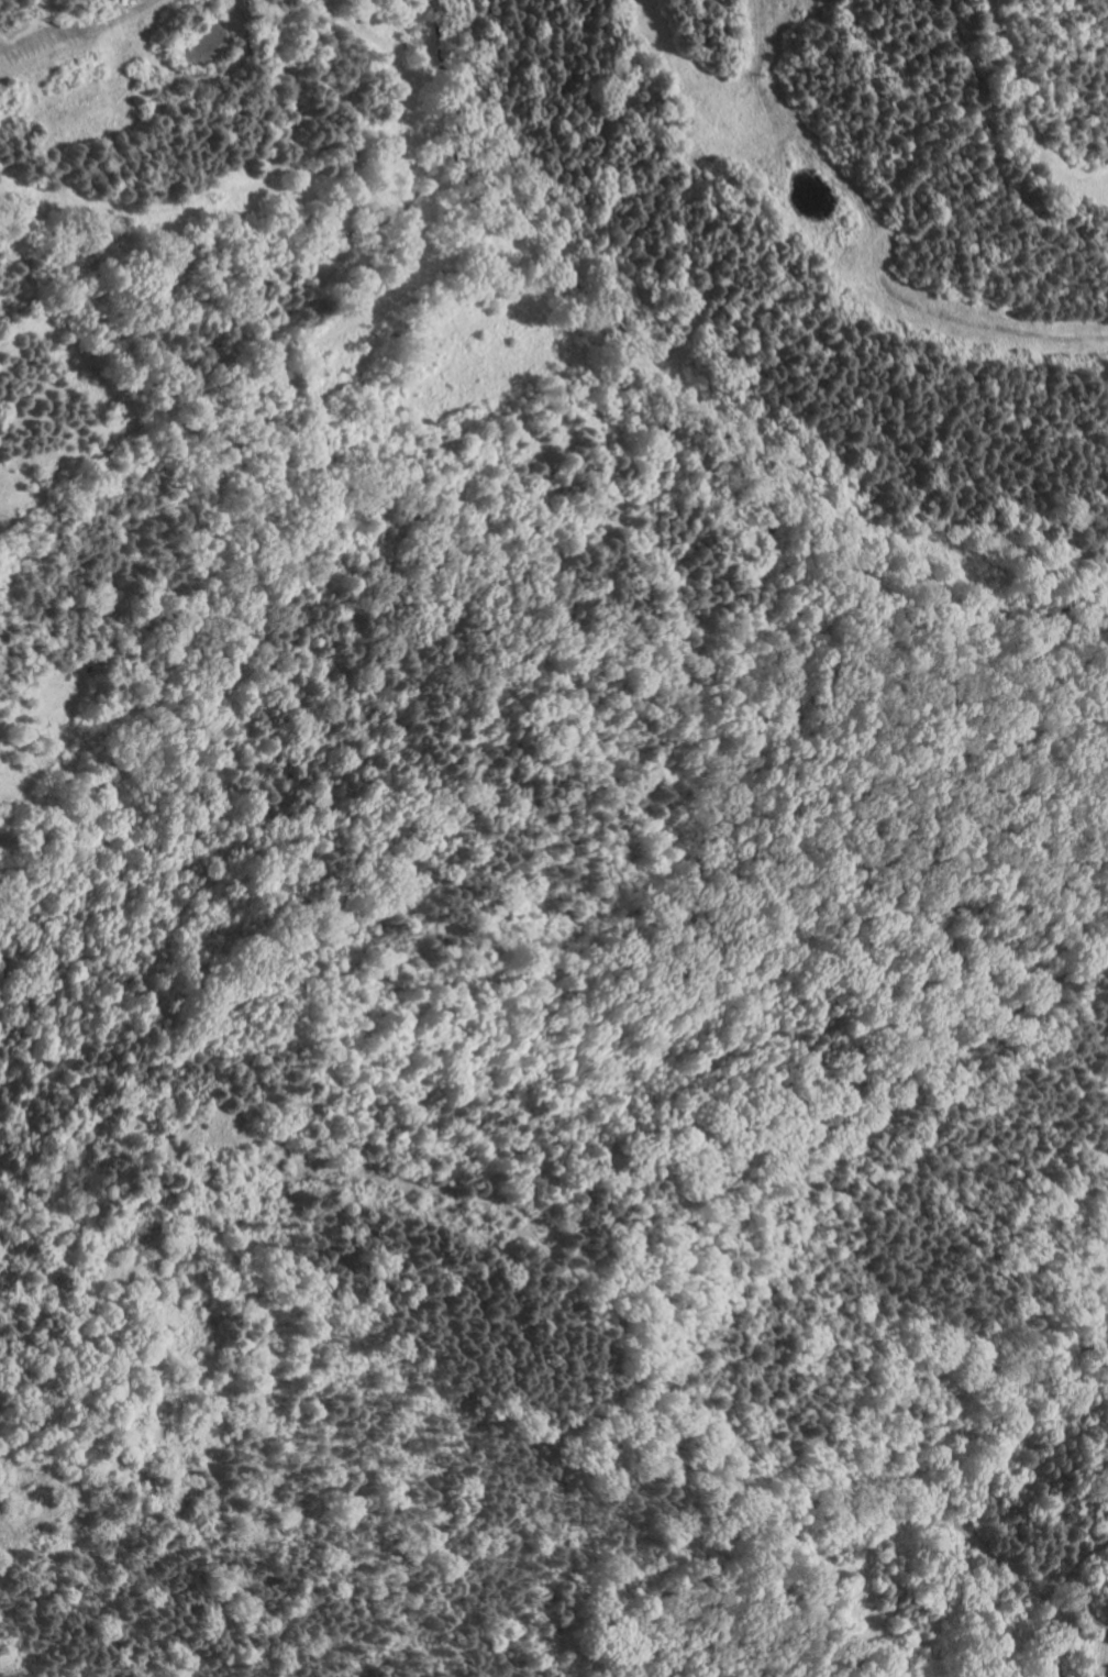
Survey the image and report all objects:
road: (114, 18)

